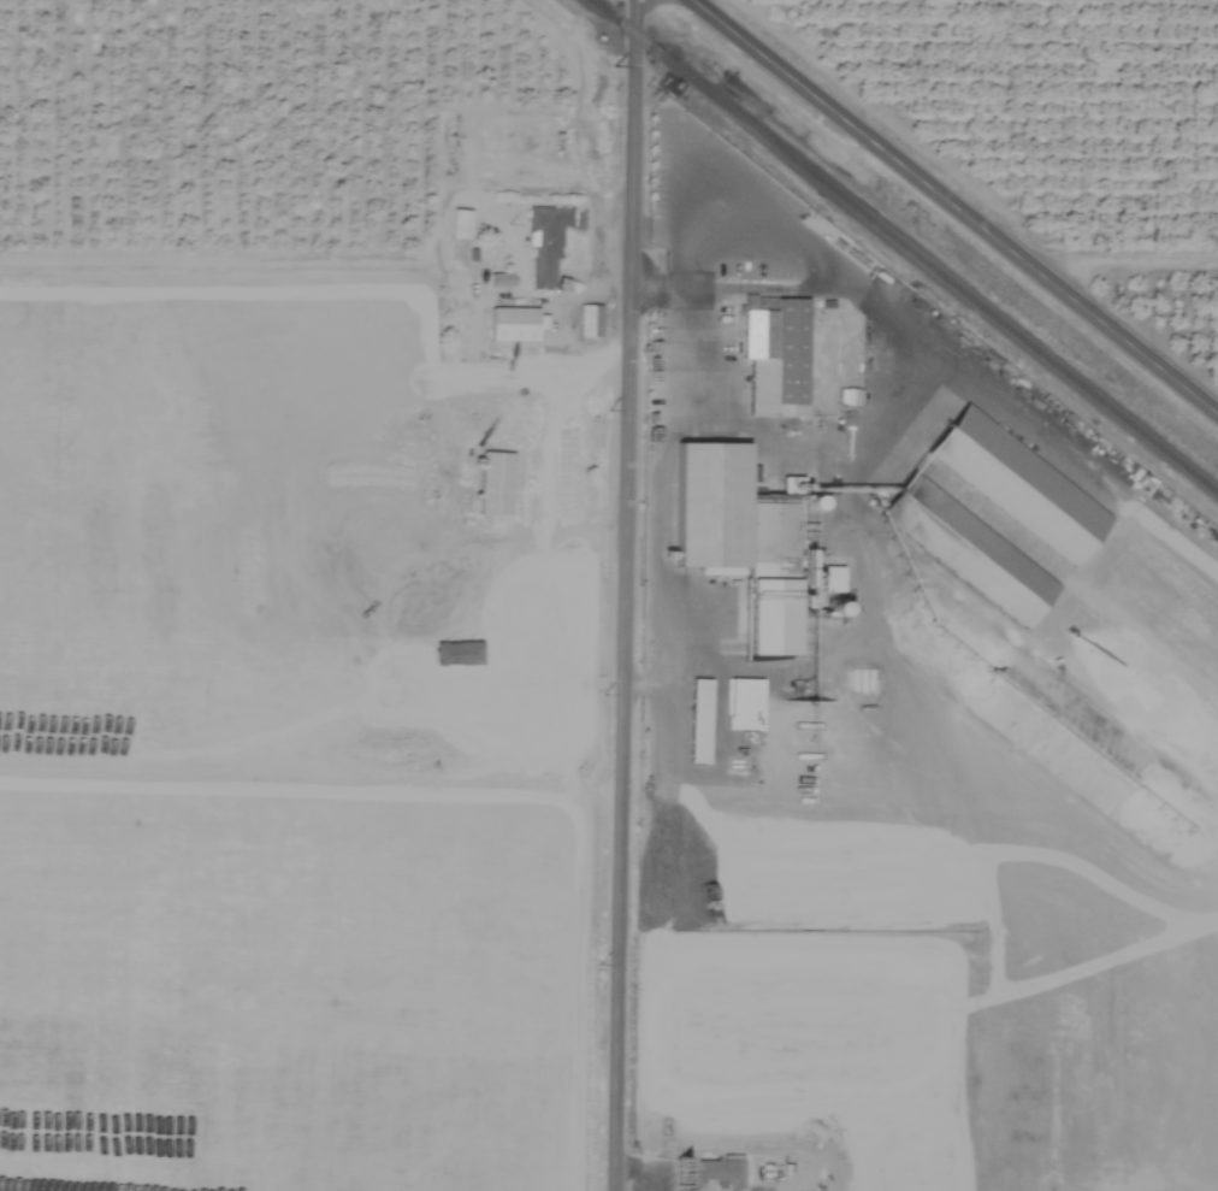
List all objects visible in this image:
crop: (1066, 119)
road: (953, 207)
building: (460, 224)
building: (545, 243)
railway: (903, 248)
road: (1121, 263)
road: (693, 290)
road: (886, 302)
building: (590, 322)
building: (513, 325)
building: (784, 371)
building: (849, 397)
building: (495, 484)
building: (1027, 493)
building: (734, 526)
building: (389, 537)
building: (976, 555)
road: (622, 595)
building: (699, 723)
crop: (1200, 733)
crop: (416, 762)
building: (714, 1177)

